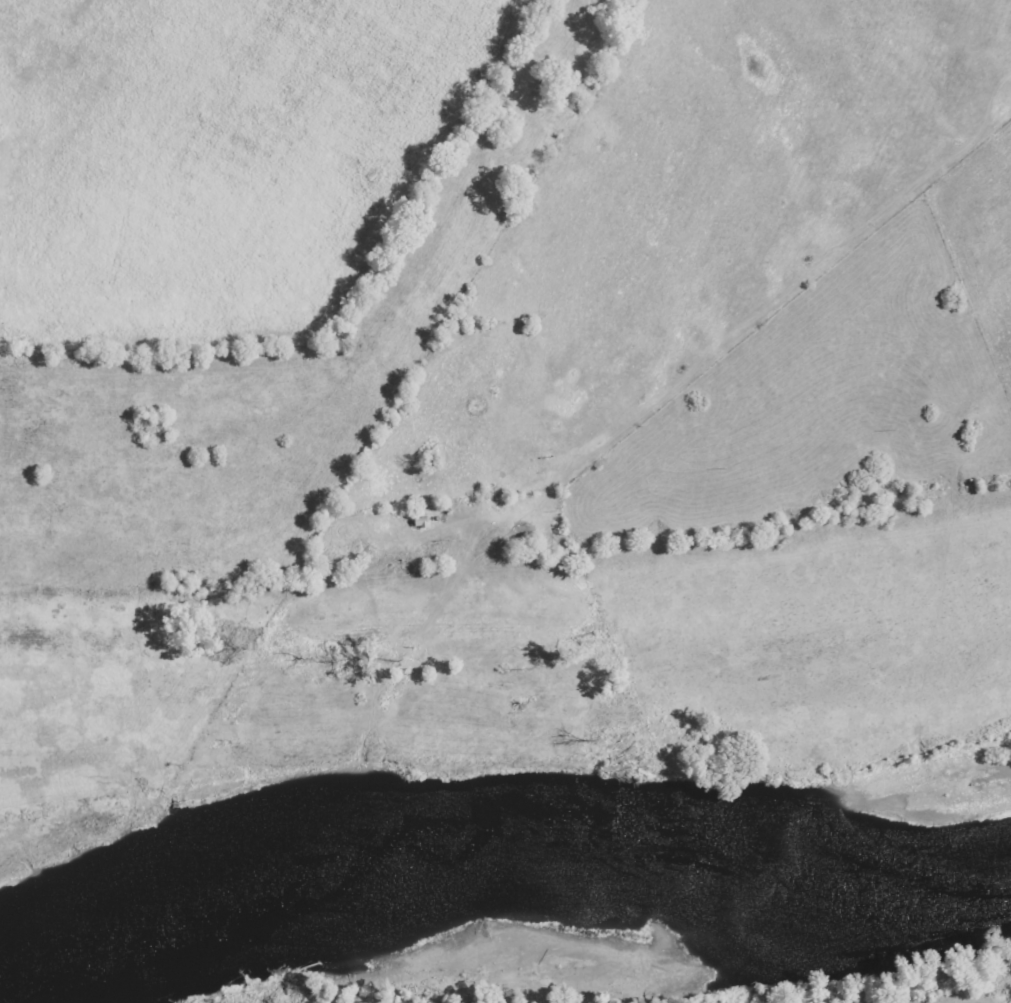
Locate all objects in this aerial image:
road: (732, 340)
building: (423, 522)
river: (503, 886)

